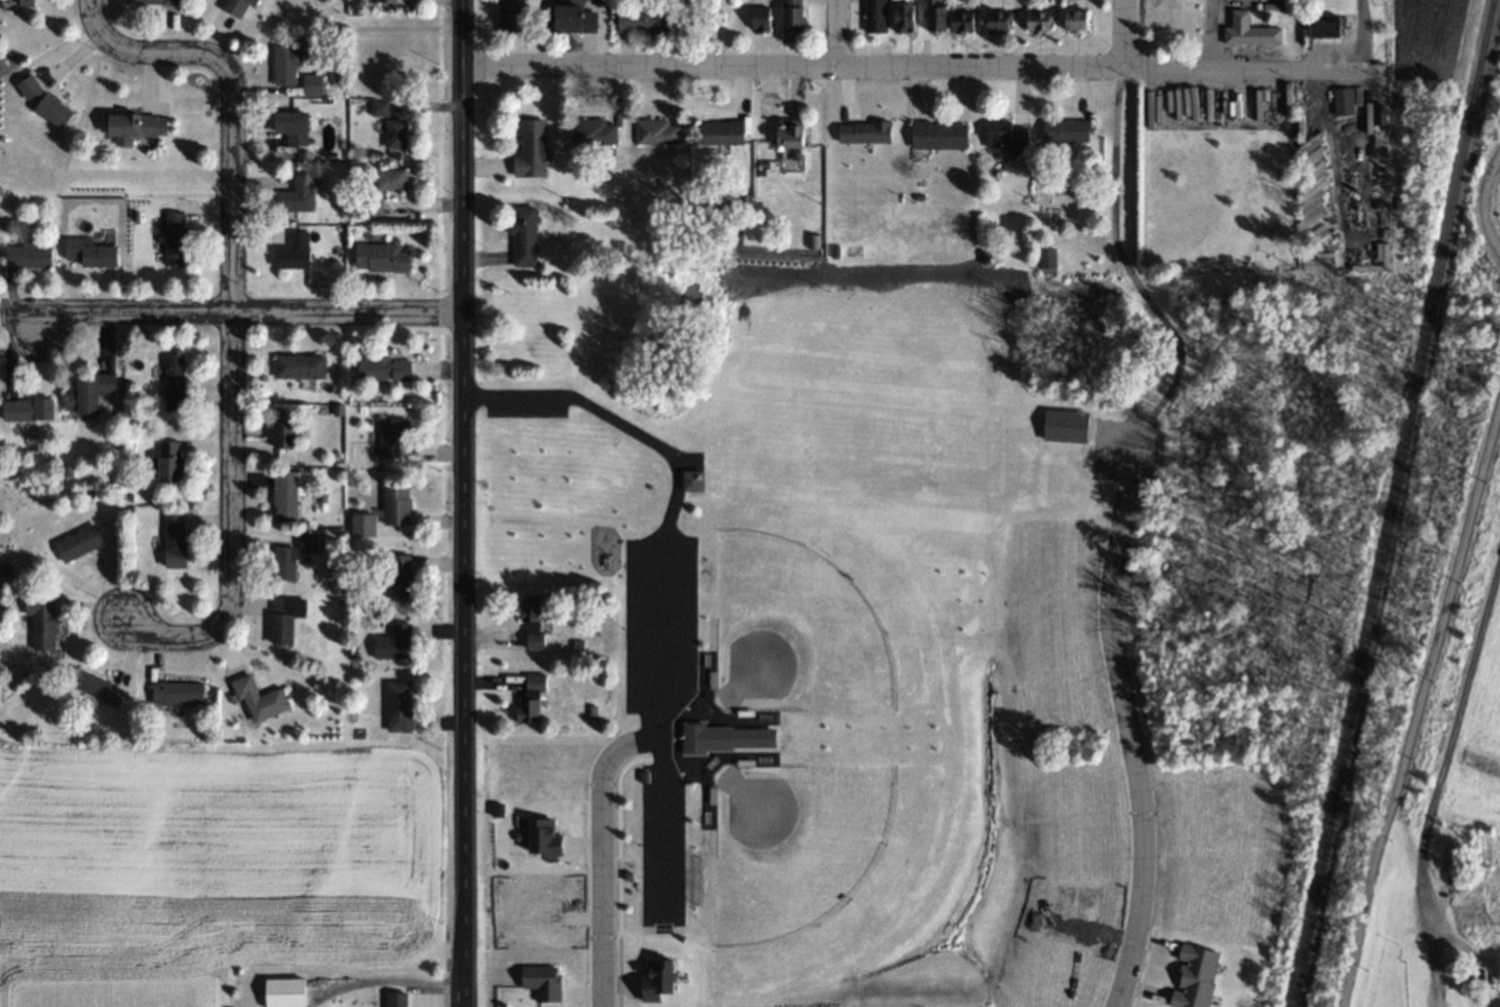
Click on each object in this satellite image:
building: (386, 0)
building: (153, 1)
building: (24, 2)
building: (236, 6)
building: (509, 14)
building: (792, 15)
building: (874, 15)
building: (904, 16)
building: (577, 17)
building: (936, 17)
building: (760, 18)
building: (1076, 19)
building: (962, 20)
building: (997, 20)
building: (1039, 20)
building: (642, 21)
road: (835, 32)
road: (1214, 33)
road: (1364, 33)
road: (1120, 34)
building: (1270, 35)
building: (284, 64)
road: (914, 65)
building: (312, 84)
building: (45, 102)
building: (378, 108)
building: (131, 126)
building: (291, 126)
building: (657, 130)
building: (1065, 130)
building: (594, 131)
building: (864, 131)
building: (721, 132)
building: (790, 132)
building: (395, 133)
building: (939, 134)
building: (1003, 134)
building: (531, 148)
building: (390, 178)
building: (296, 194)
road: (1480, 199)
building: (372, 206)
building: (523, 235)
building: (173, 239)
building: (294, 251)
building: (89, 252)
building: (27, 255)
building: (381, 257)
road: (1144, 288)
road: (231, 310)
road: (233, 313)
building: (299, 366)
building: (383, 367)
road: (462, 367)
building: (172, 382)
building: (88, 393)
building: (27, 409)
building: (284, 433)
building: (390, 438)
building: (170, 463)
building: (692, 480)
building: (285, 495)
railway: (1390, 503)
building: (395, 505)
building: (174, 540)
building: (308, 541)
building: (78, 543)
building: (283, 562)
road: (657, 567)
building: (400, 576)
park: (812, 609)
building: (285, 618)
building: (532, 620)
building: (42, 621)
building: (393, 642)
building: (97, 687)
building: (177, 693)
building: (259, 698)
building: (529, 699)
road: (1414, 702)
building: (398, 706)
building: (706, 738)
road: (1130, 748)
road: (600, 852)
park: (809, 863)
road: (463, 871)
building: (1194, 976)
building: (543, 981)
building: (284, 992)
building: (396, 999)

